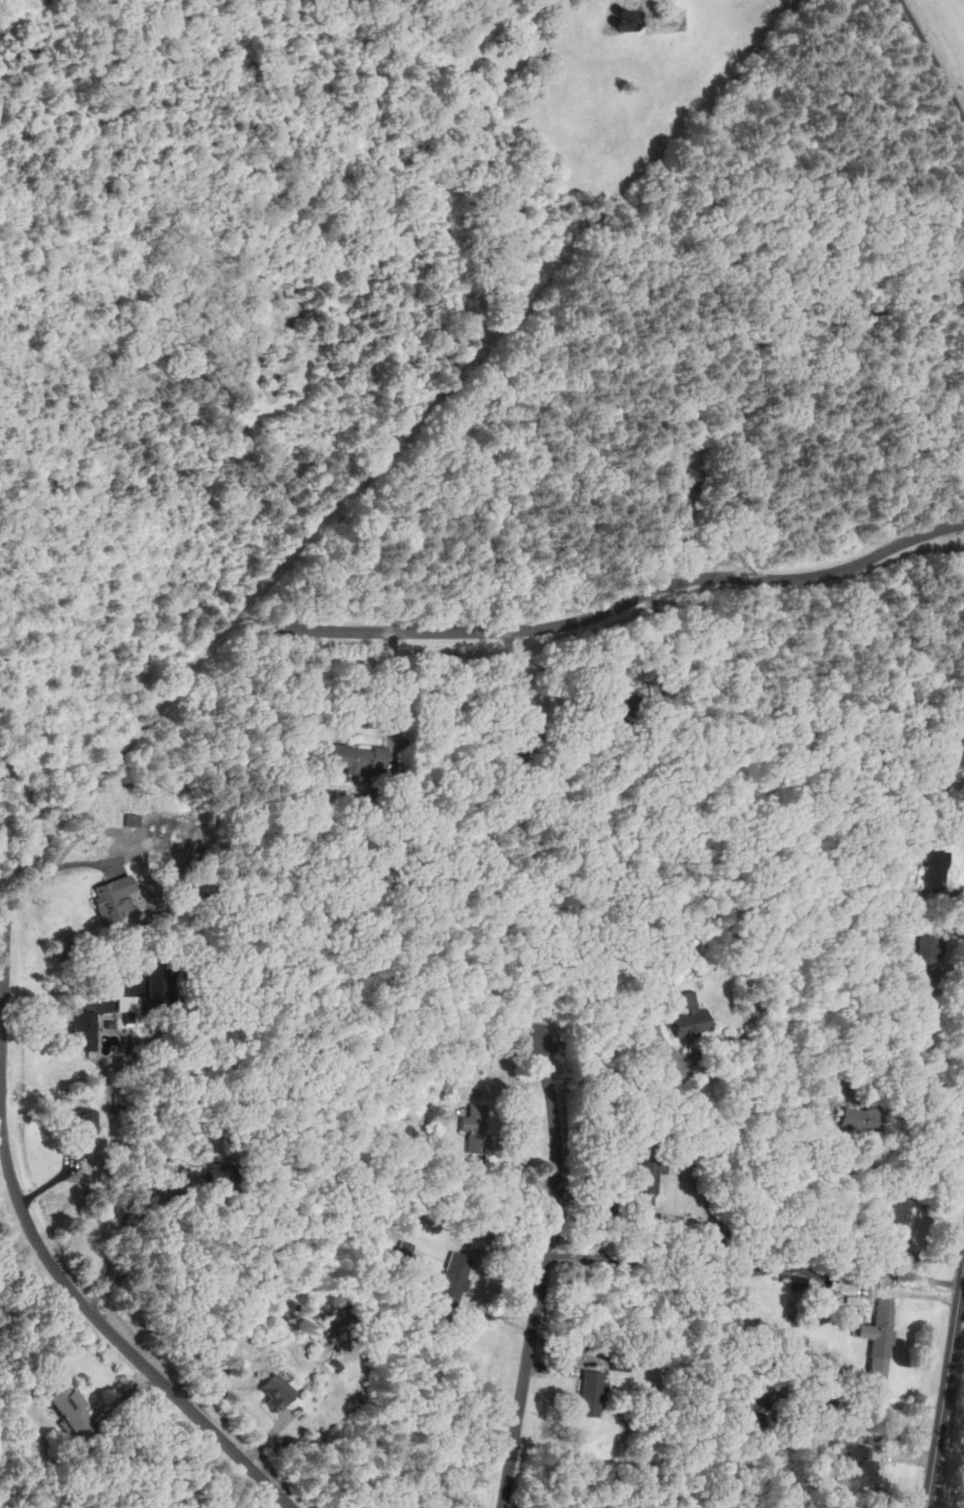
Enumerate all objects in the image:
road: (933, 62)
building: (688, 477)
road: (631, 599)
road: (668, 660)
road: (507, 680)
road: (395, 687)
building: (625, 705)
building: (525, 740)
building: (357, 760)
building: (133, 819)
road: (52, 867)
building: (935, 872)
building: (111, 899)
building: (929, 946)
road: (2, 971)
building: (158, 985)
building: (128, 1007)
building: (689, 1015)
building: (85, 1032)
road: (677, 1075)
road: (914, 1088)
building: (859, 1120)
building: (476, 1128)
building: (86, 1134)
road: (466, 1173)
building: (649, 1175)
building: (221, 1176)
building: (900, 1212)
road: (140, 1259)
road: (541, 1274)
building: (453, 1281)
building: (850, 1306)
building: (882, 1333)
road: (115, 1339)
building: (622, 1364)
road: (945, 1383)
building: (278, 1393)
building: (591, 1394)
building: (758, 1397)
building: (73, 1411)
building: (754, 1428)
building: (863, 1467)

